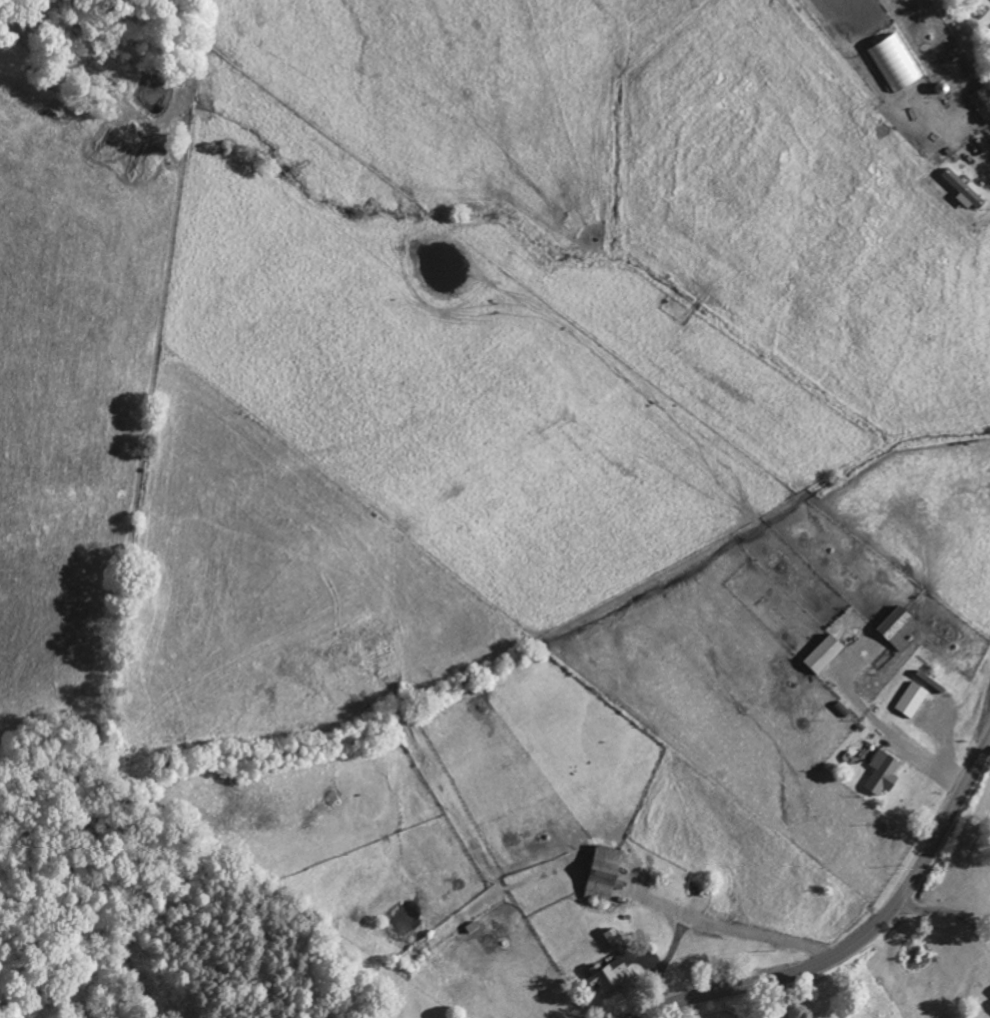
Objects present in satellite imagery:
building: (989, 0)
building: (898, 63)
building: (983, 102)
building: (965, 189)
building: (902, 627)
building: (827, 654)
building: (914, 699)
building: (885, 773)
building: (607, 873)
road: (863, 936)
building: (616, 939)
building: (609, 976)

